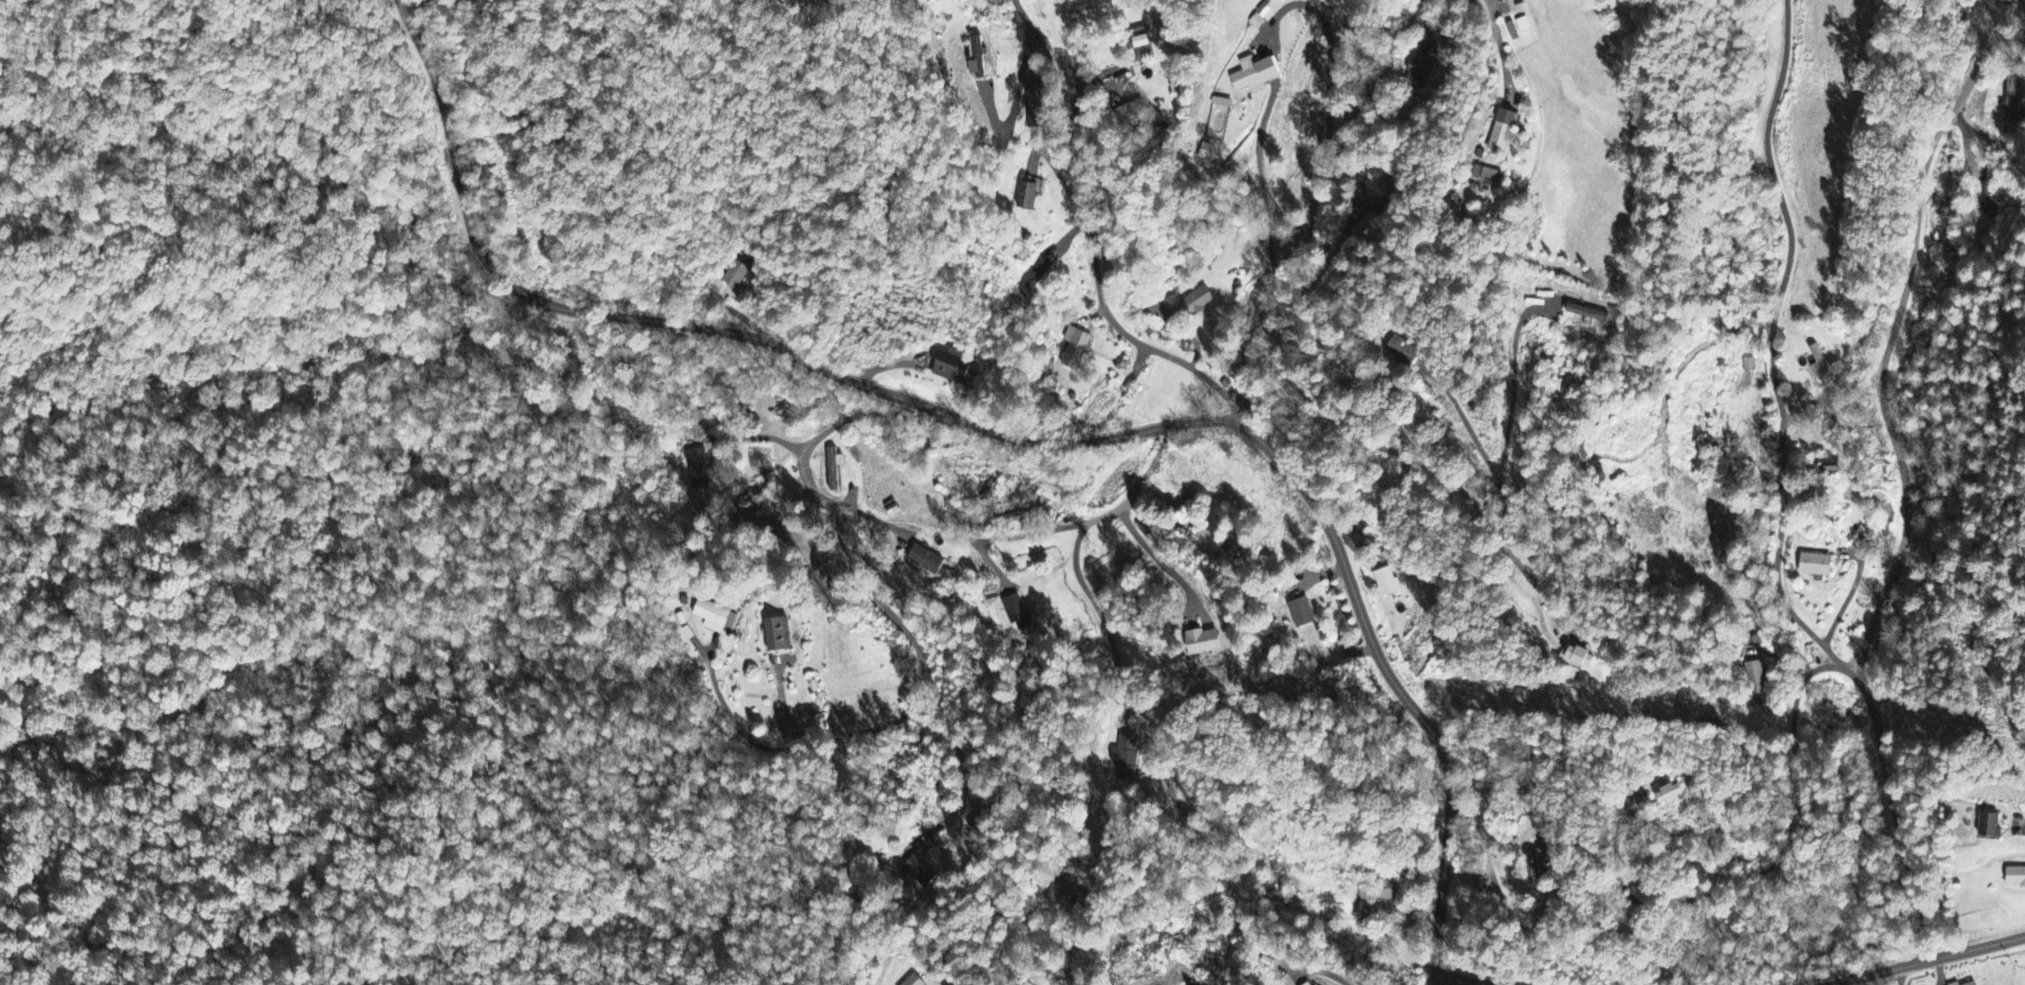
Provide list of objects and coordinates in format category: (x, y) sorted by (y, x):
building: (1259, 18)
building: (1518, 28)
building: (1143, 43)
road: (1502, 51)
building: (975, 59)
building: (1419, 73)
building: (1256, 76)
road: (1371, 83)
building: (1176, 89)
building: (2010, 100)
building: (1035, 105)
building: (1129, 113)
building: (1505, 132)
road: (1989, 141)
road: (1770, 164)
building: (1490, 176)
building: (1375, 183)
road: (1263, 184)
road: (1312, 192)
building: (1027, 194)
building: (1991, 202)
road: (1091, 227)
building: (735, 276)
building: (1037, 279)
building: (1198, 302)
building: (1587, 314)
road: (1891, 335)
building: (1075, 349)
building: (1407, 352)
building: (1819, 363)
building: (1748, 366)
building: (952, 367)
road: (1808, 402)
road: (1012, 434)
road: (1482, 445)
road: (1412, 459)
building: (1828, 466)
building: (834, 469)
building: (698, 471)
road: (1779, 514)
road: (916, 531)
building: (1207, 543)
building: (925, 560)
building: (1816, 566)
building: (1386, 583)
road: (1846, 598)
building: (1017, 613)
building: (1301, 614)
building: (715, 618)
road: (1102, 619)
building: (778, 636)
building: (1208, 645)
building: (1582, 659)
building: (1755, 678)
road: (901, 714)
road: (956, 758)
building: (1125, 758)
road: (1018, 787)
building: (1671, 796)
road: (1895, 815)
building: (1989, 823)
road: (1771, 857)
building: (1538, 864)
building: (919, 872)
building: (2016, 878)
building: (1378, 894)
building: (1062, 897)
road: (1925, 963)
road: (1321, 973)
road: (1899, 976)
road: (1434, 979)
road: (1462, 979)
building: (914, 981)
building: (1966, 981)
building: (1309, 984)

